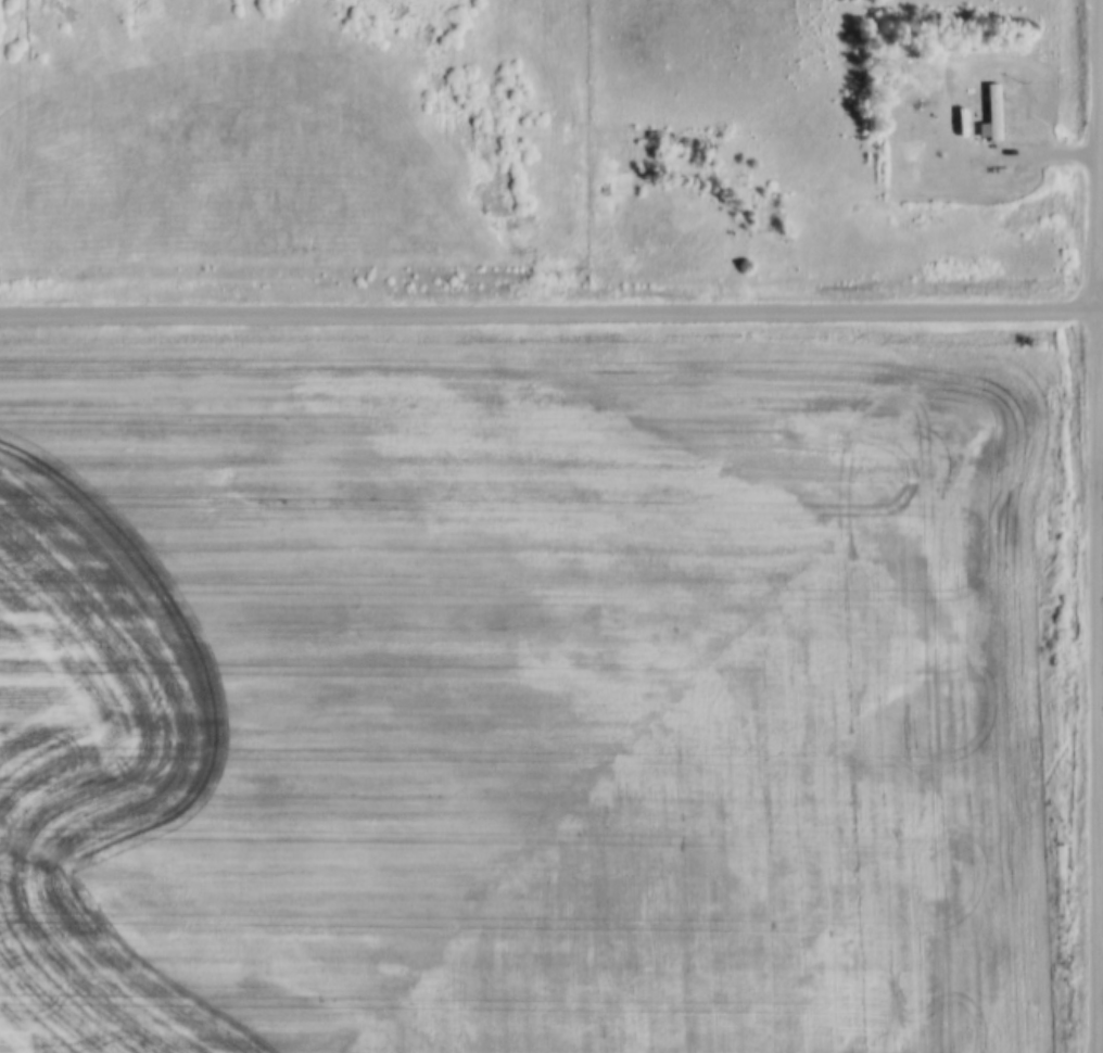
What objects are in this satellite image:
building: (987, 111)
road: (1102, 152)
road: (551, 312)
road: (1099, 678)

